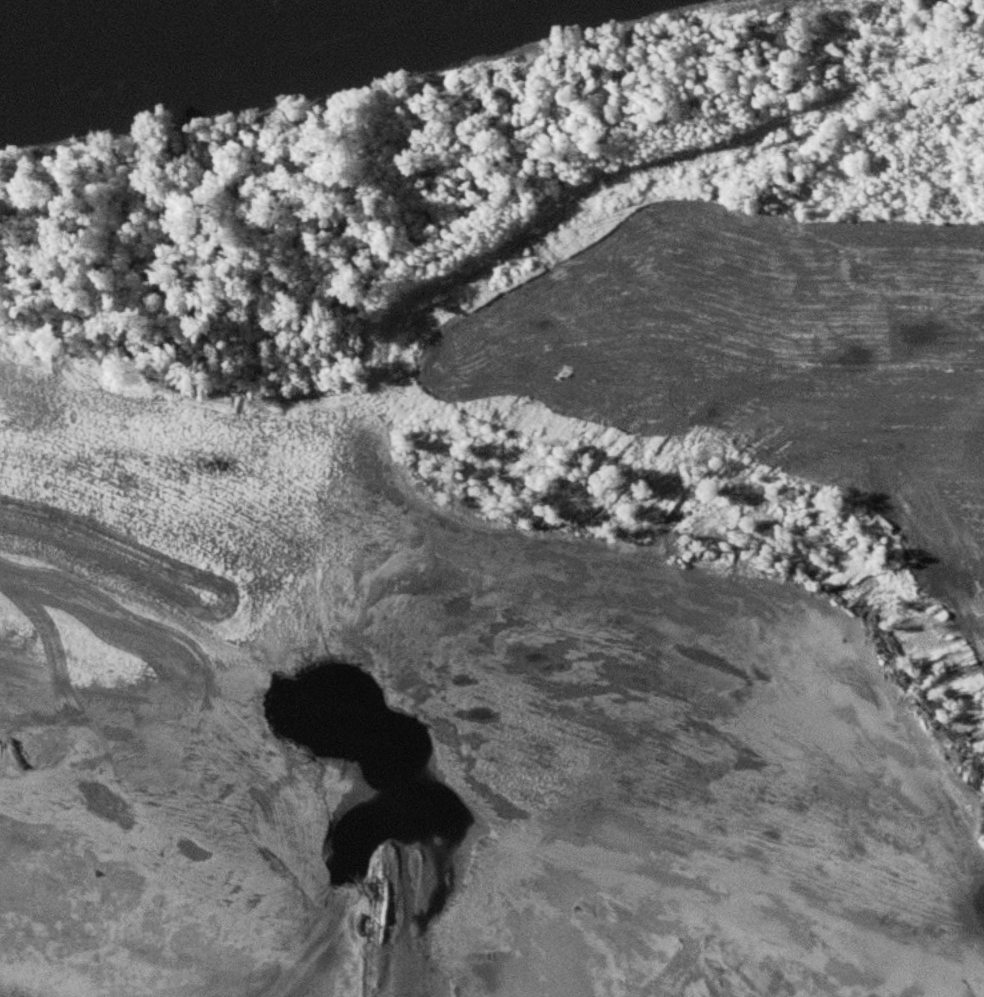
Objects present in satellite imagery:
road: (401, 712)

